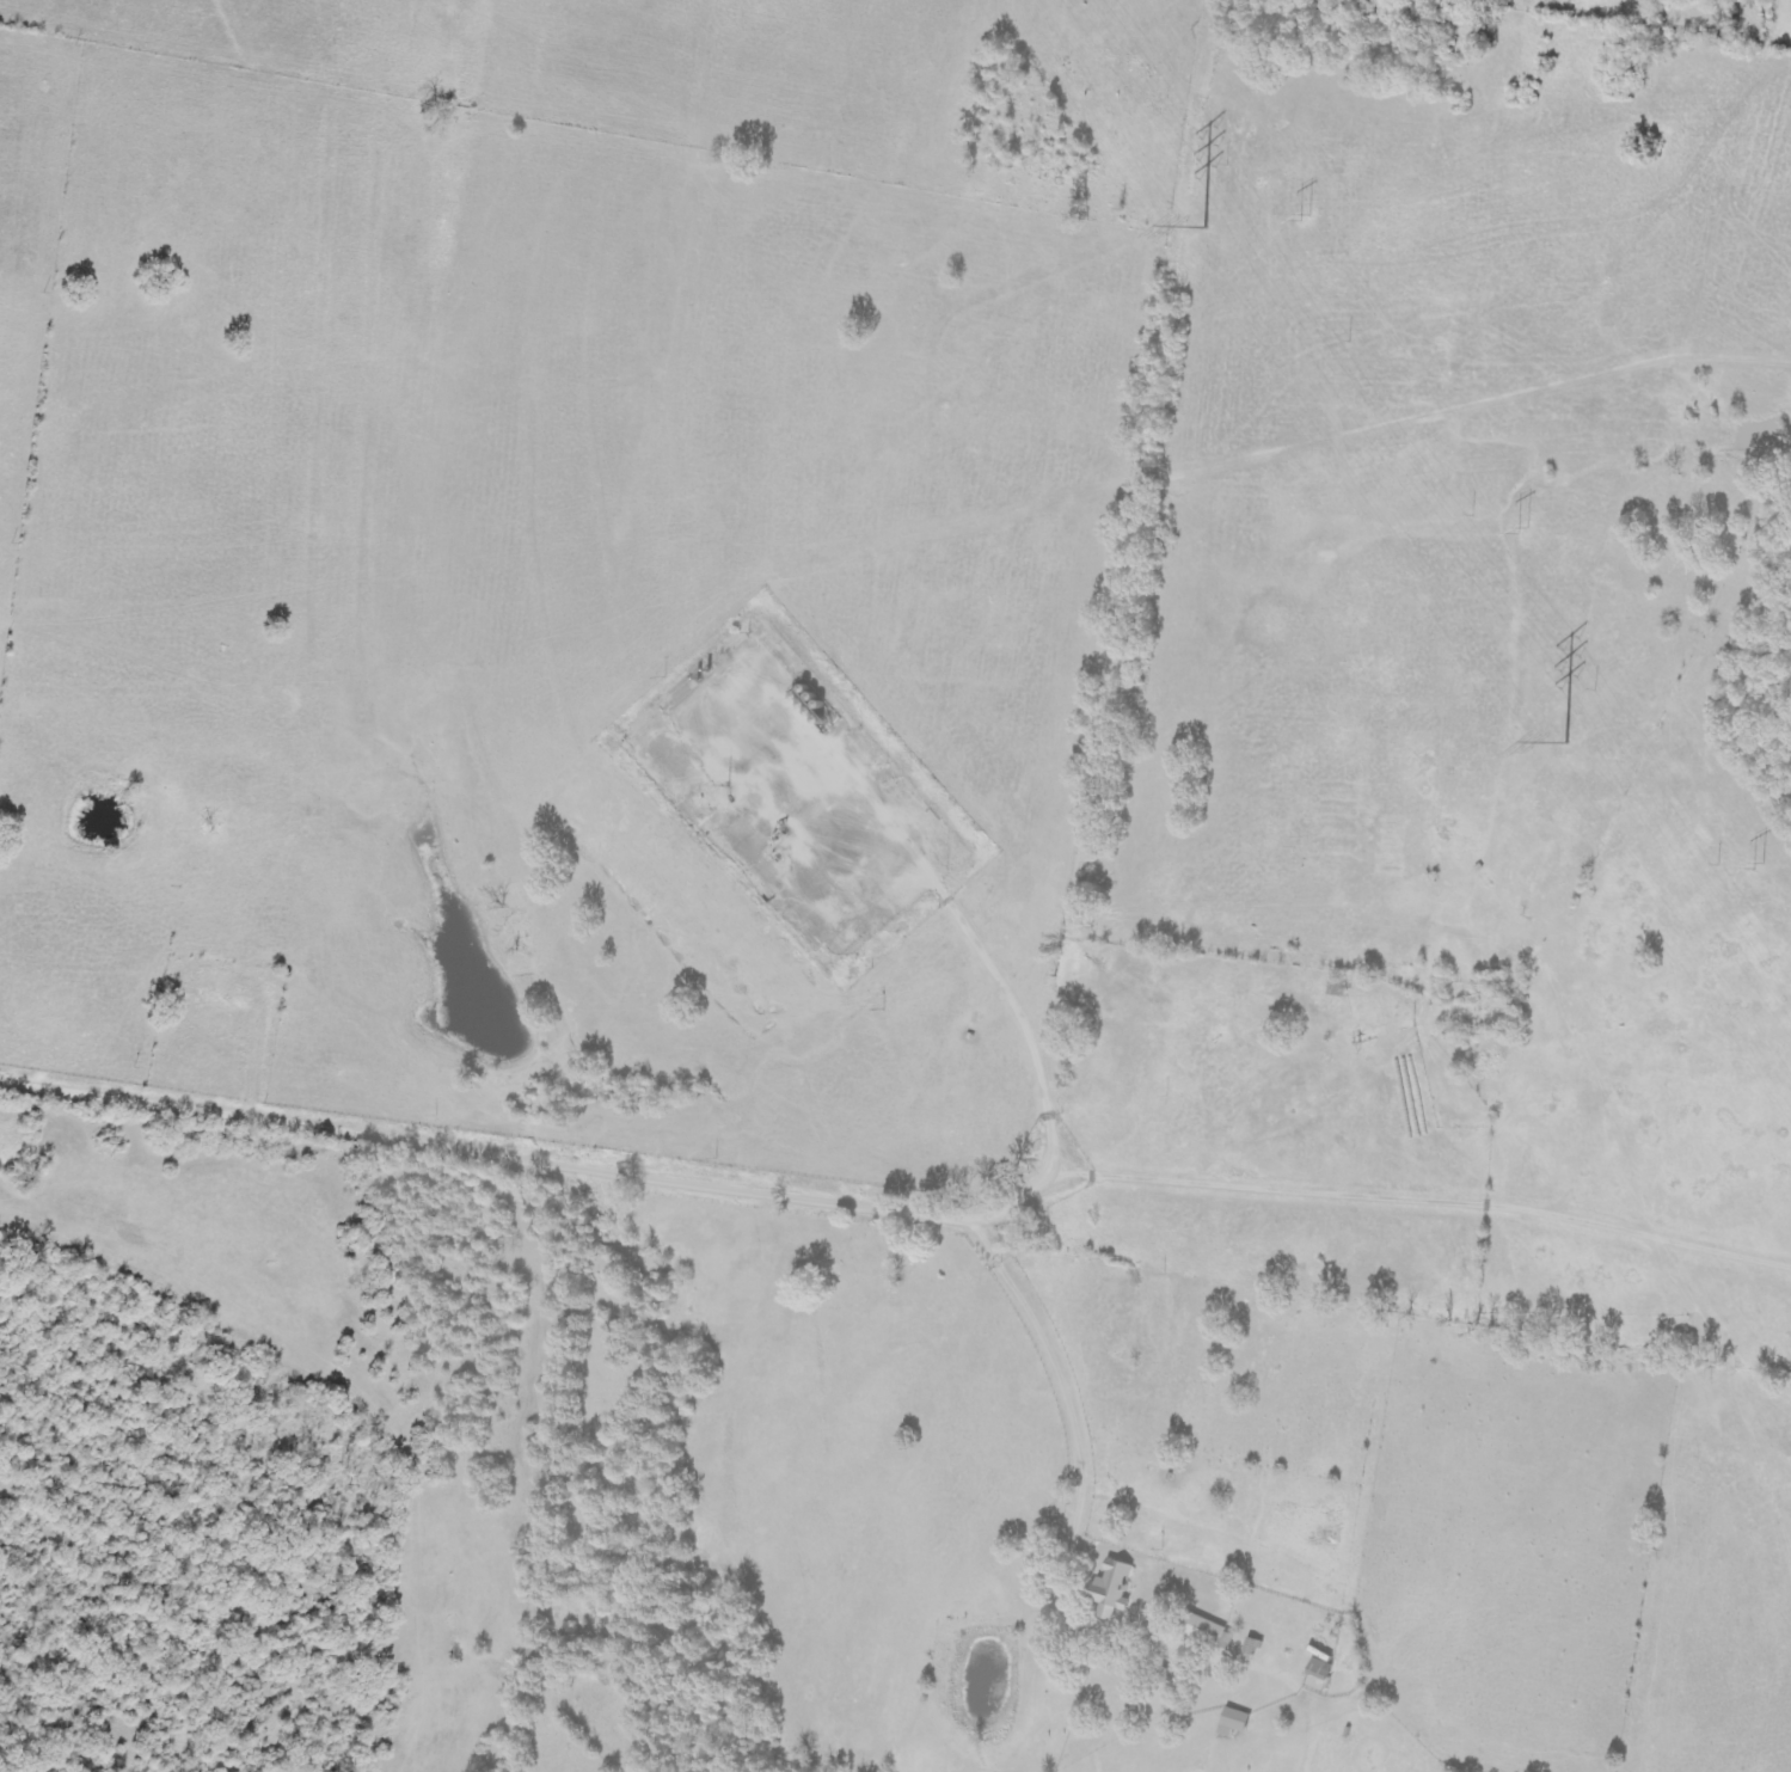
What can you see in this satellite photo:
power tower: (1304, 219)
power tower: (1204, 221)
power tower: (1522, 529)
power tower: (1565, 735)
power tower: (1760, 864)
road: (547, 1161)
building: (1198, 1629)
building: (1318, 1667)
building: (1231, 1722)

